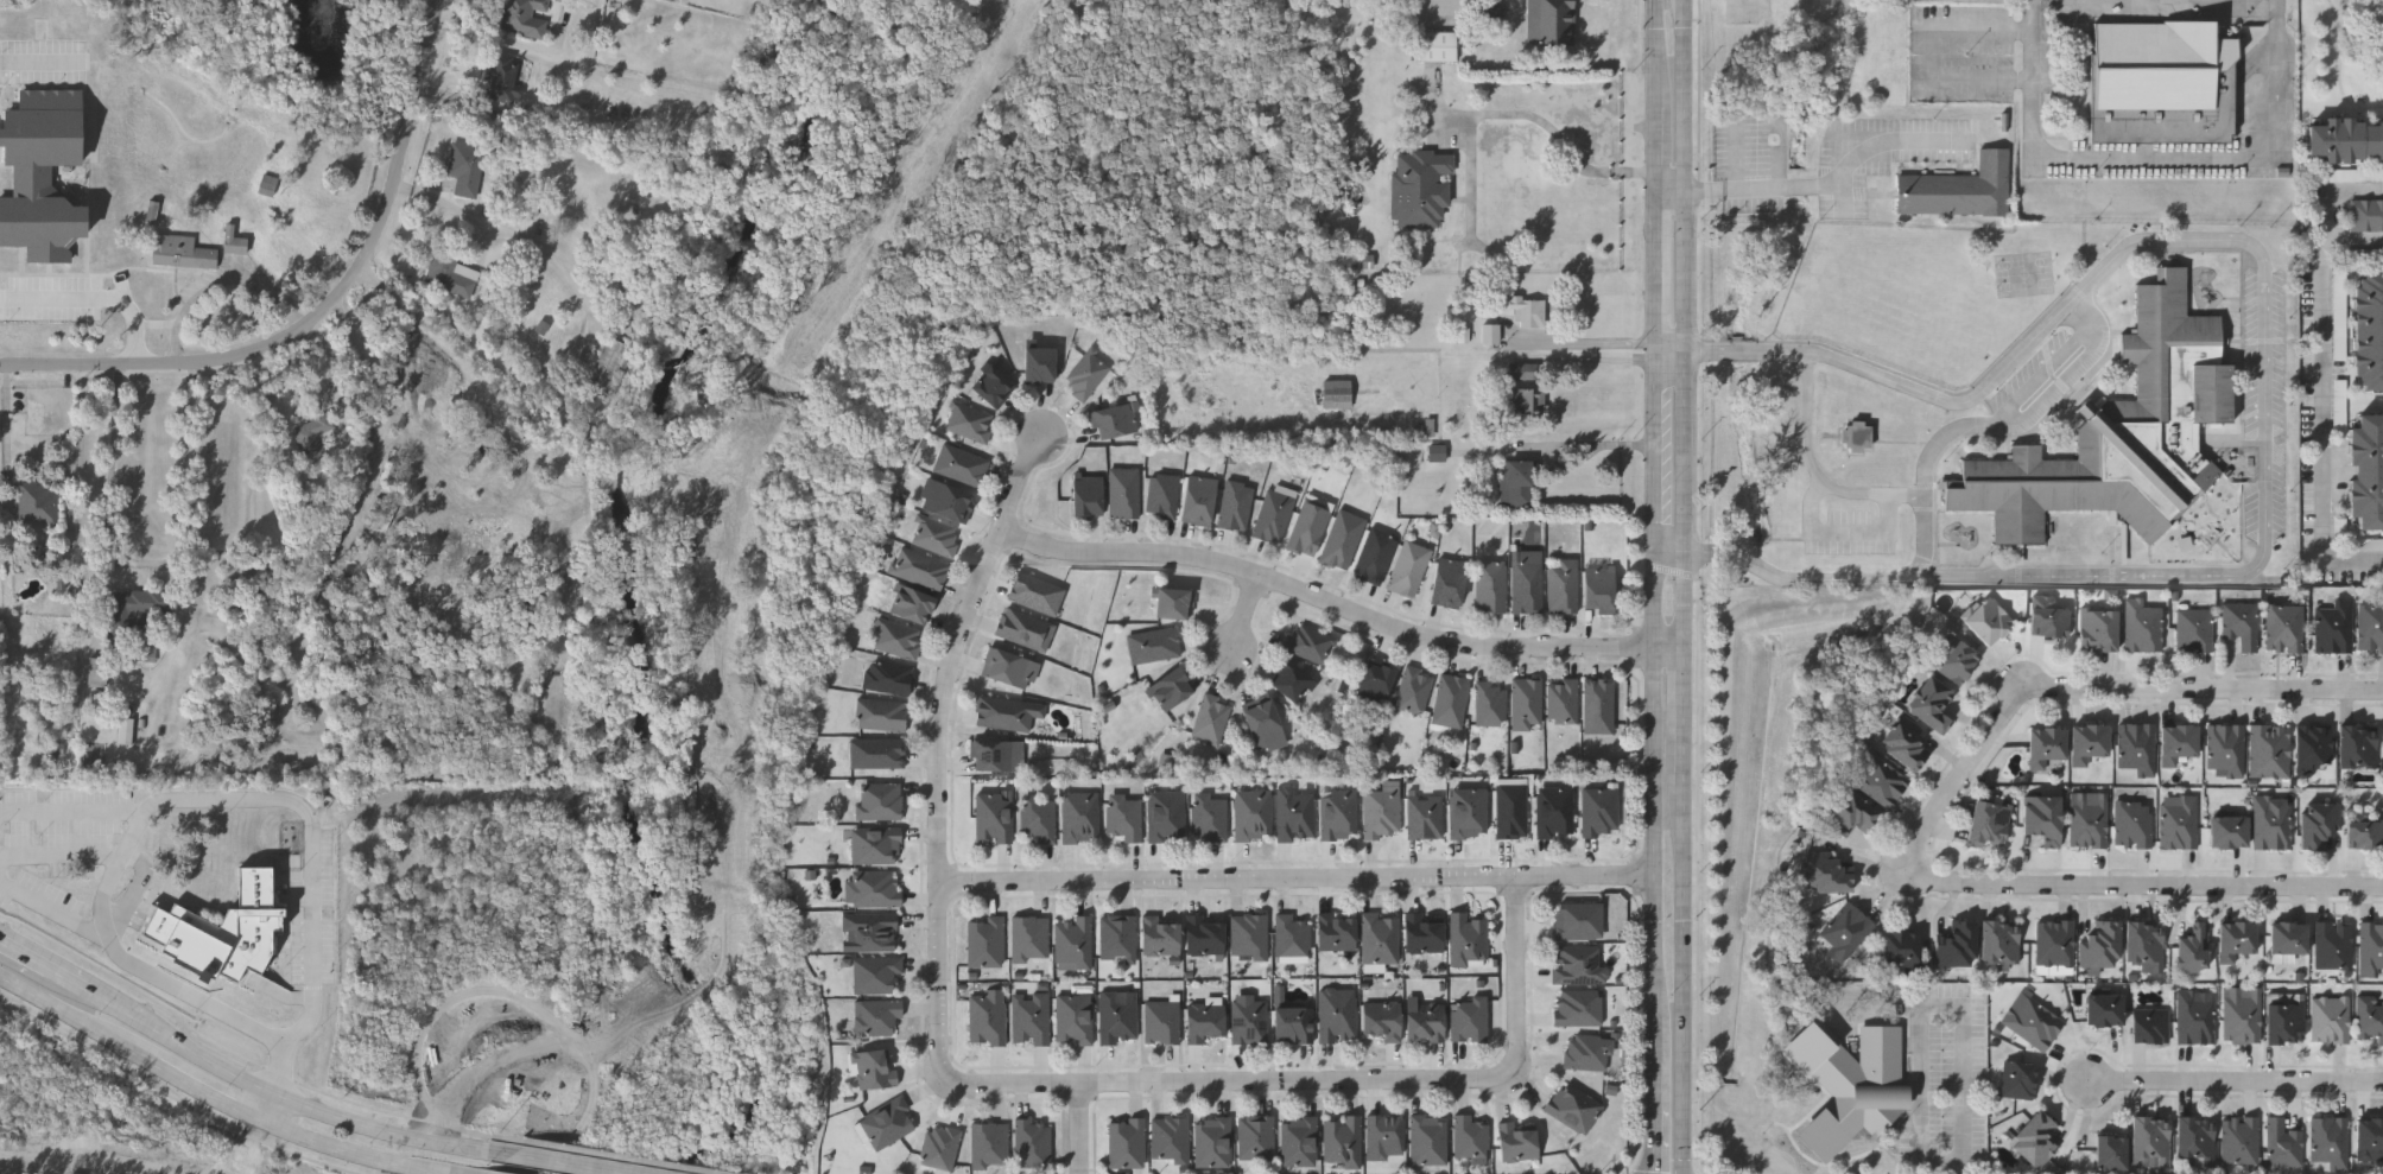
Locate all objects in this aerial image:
building: (1492, 11)
road: (1685, 12)
road: (1659, 14)
building: (524, 17)
building: (1549, 20)
building: (1437, 45)
road: (1937, 52)
road: (40, 61)
building: (2157, 66)
building: (499, 77)
road: (1536, 118)
building: (2346, 138)
road: (2154, 156)
building: (464, 167)
building: (43, 174)
building: (2351, 176)
building: (268, 185)
road: (1760, 185)
building: (1420, 186)
road: (1671, 189)
building: (1958, 189)
road: (2337, 196)
building: (2366, 215)
road: (508, 229)
building: (232, 241)
building: (180, 252)
building: (2376, 256)
building: (1363, 261)
building: (451, 274)
road: (95, 298)
building: (1523, 310)
road: (324, 311)
building: (2340, 325)
building: (2369, 329)
building: (1490, 332)
road: (1685, 337)
road: (1603, 342)
road: (1671, 350)
building: (1037, 363)
building: (603, 366)
building: (1520, 372)
building: (1084, 374)
building: (989, 385)
building: (1336, 394)
road: (1944, 398)
road: (2322, 402)
road: (2022, 405)
building: (2340, 406)
building: (1527, 410)
building: (1114, 418)
road: (7, 421)
building: (969, 421)
building: (2122, 434)
building: (313, 437)
building: (1858, 437)
road: (1592, 449)
building: (1438, 453)
building: (958, 463)
road: (1813, 469)
building: (2366, 470)
road: (1658, 475)
building: (1515, 483)
building: (1122, 491)
building: (1160, 494)
building: (1085, 495)
building: (1197, 499)
building: (944, 500)
building: (33, 504)
building: (1235, 504)
building: (1272, 515)
road: (2265, 518)
building: (1307, 527)
road: (1842, 529)
building: (933, 534)
road: (1922, 535)
building: (1341, 539)
road: (1671, 551)
building: (1374, 554)
road: (144, 561)
building: (918, 567)
building: (1407, 567)
road: (1799, 578)
building: (1446, 582)
building: (1561, 584)
building: (1489, 585)
building: (1525, 585)
building: (1598, 589)
building: (1034, 592)
building: (1172, 602)
building: (910, 603)
road: (1341, 607)
road: (1247, 613)
building: (134, 618)
building: (2048, 618)
building: (1989, 622)
building: (2242, 624)
building: (2143, 627)
building: (2336, 627)
building: (1022, 628)
building: (2286, 629)
building: (2099, 630)
building: (2194, 630)
building: (2371, 630)
building: (895, 637)
building: (1307, 641)
building: (1152, 643)
building: (1957, 660)
building: (1008, 667)
building: (96, 672)
building: (885, 675)
building: (1291, 681)
building: (1374, 681)
building: (1168, 687)
building: (1413, 688)
road: (2207, 691)
building: (1449, 699)
building: (1560, 699)
building: (1489, 703)
building: (1525, 703)
building: (1932, 704)
building: (1597, 705)
building: (1002, 712)
building: (879, 713)
building: (1210, 717)
road: (1685, 721)
building: (1262, 725)
building: (127, 731)
building: (2090, 743)
building: (1906, 744)
building: (2178, 744)
building: (2046, 747)
building: (2358, 747)
building: (52, 748)
building: (2314, 748)
road: (940, 749)
building: (2138, 749)
building: (2227, 749)
building: (875, 751)
building: (2270, 751)
building: (991, 754)
road: (1970, 774)
building: (1882, 783)
building: (877, 799)
road: (278, 802)
building: (1509, 807)
road: (72, 810)
building: (1553, 811)
building: (1598, 811)
building: (1466, 812)
building: (1250, 813)
building: (1337, 813)
building: (1380, 813)
building: (1164, 814)
building: (1293, 814)
building: (1078, 816)
building: (1122, 816)
building: (1422, 816)
building: (1850, 816)
building: (991, 817)
building: (1037, 817)
building: (1208, 817)
building: (2043, 819)
building: (2090, 820)
building: (2180, 823)
building: (2273, 824)
building: (1990, 825)
building: (2320, 825)
building: (2134, 826)
building: (2364, 832)
building: (2230, 833)
building: (873, 844)
road: (62, 856)
road: (1685, 857)
building: (1830, 876)
road: (1300, 880)
road: (2149, 886)
building: (870, 887)
building: (1576, 919)
building: (867, 931)
building: (1335, 932)
building: (1421, 933)
building: (1846, 933)
building: (1203, 934)
building: (1159, 935)
building: (1247, 935)
building: (1116, 937)
building: (1291, 937)
building: (1028, 938)
building: (1379, 938)
building: (1466, 938)
building: (2289, 939)
building: (983, 940)
building: (1071, 941)
building: (2236, 941)
building: (2001, 943)
building: (2055, 944)
building: (1959, 946)
building: (2334, 946)
building: (2102, 947)
building: (2146, 947)
building: (2194, 948)
building: (2371, 950)
building: (1902, 951)
building: (1577, 963)
road: (45, 967)
building: (873, 972)
road: (1517, 978)
road: (176, 984)
road: (1658, 989)
road: (507, 990)
building: (1577, 1005)
road: (1932, 1009)
building: (2105, 1011)
building: (1336, 1014)
building: (875, 1015)
building: (1116, 1016)
building: (2243, 1016)
building: (1029, 1017)
building: (1073, 1017)
building: (1468, 1017)
building: (985, 1018)
building: (1248, 1018)
building: (1380, 1018)
building: (2370, 1018)
building: (1160, 1020)
building: (1422, 1020)
building: (2195, 1020)
building: (2286, 1020)
building: (2331, 1020)
building: (1204, 1021)
building: (2033, 1022)
building: (1292, 1023)
building: (2151, 1027)
road: (1685, 1047)
building: (1586, 1051)
building: (870, 1068)
road: (1229, 1080)
building: (2018, 1081)
road: (2238, 1083)
building: (1851, 1085)
road: (280, 1097)
road: (215, 1099)
building: (1572, 1106)
road: (1655, 1115)
building: (886, 1122)
road: (1080, 1128)
building: (1254, 1136)
building: (1383, 1136)
building: (1469, 1137)
building: (1168, 1138)
building: (1426, 1138)
building: (1341, 1140)
building: (1124, 1141)
building: (1211, 1141)
building: (1297, 1141)
building: (1515, 1141)
building: (2036, 1141)
building: (2370, 1141)
building: (1031, 1142)
building: (2241, 1142)
building: (2151, 1143)
building: (2195, 1143)
building: (2331, 1143)
building: (988, 1144)
building: (2283, 1144)
building: (938, 1148)
building: (2111, 1154)
road: (606, 1155)
road: (557, 1163)
road: (1959, 1168)

